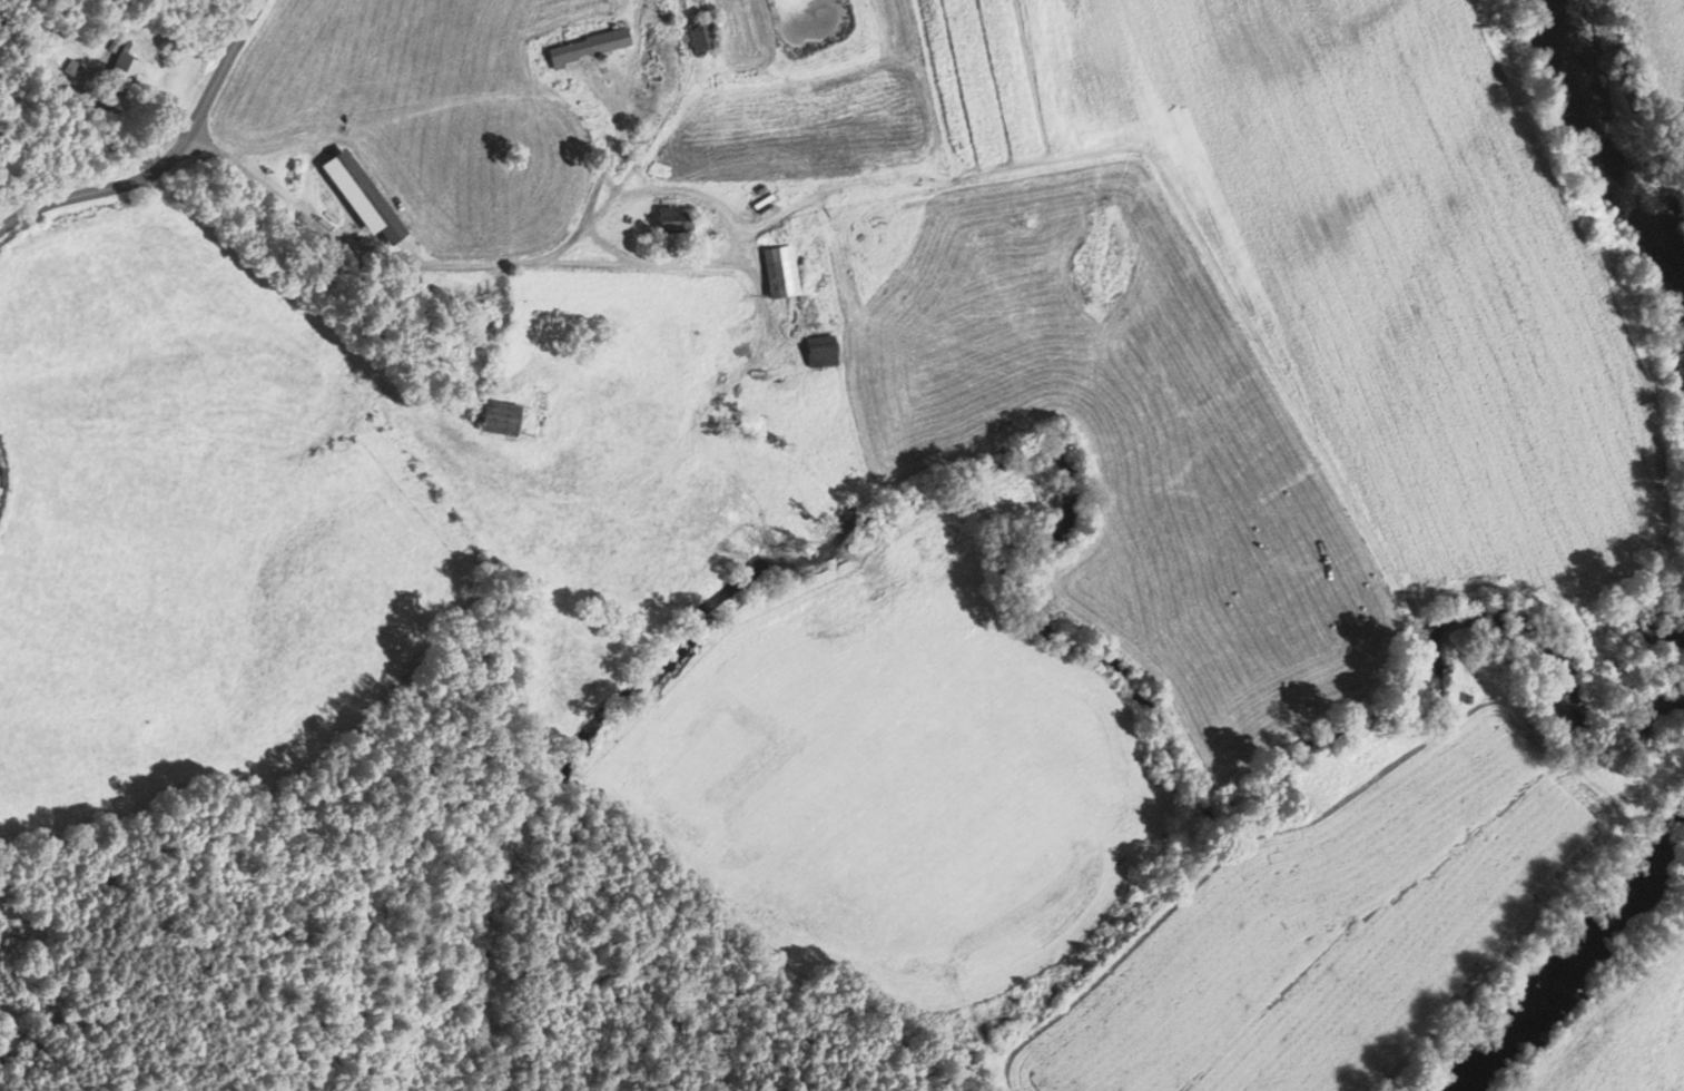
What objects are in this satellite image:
building: (703, 33)
building: (591, 47)
building: (127, 65)
river: (1604, 126)
road: (167, 158)
building: (370, 196)
building: (677, 220)
river: (1674, 271)
building: (782, 272)
building: (824, 352)
building: (503, 419)
river: (1572, 972)

